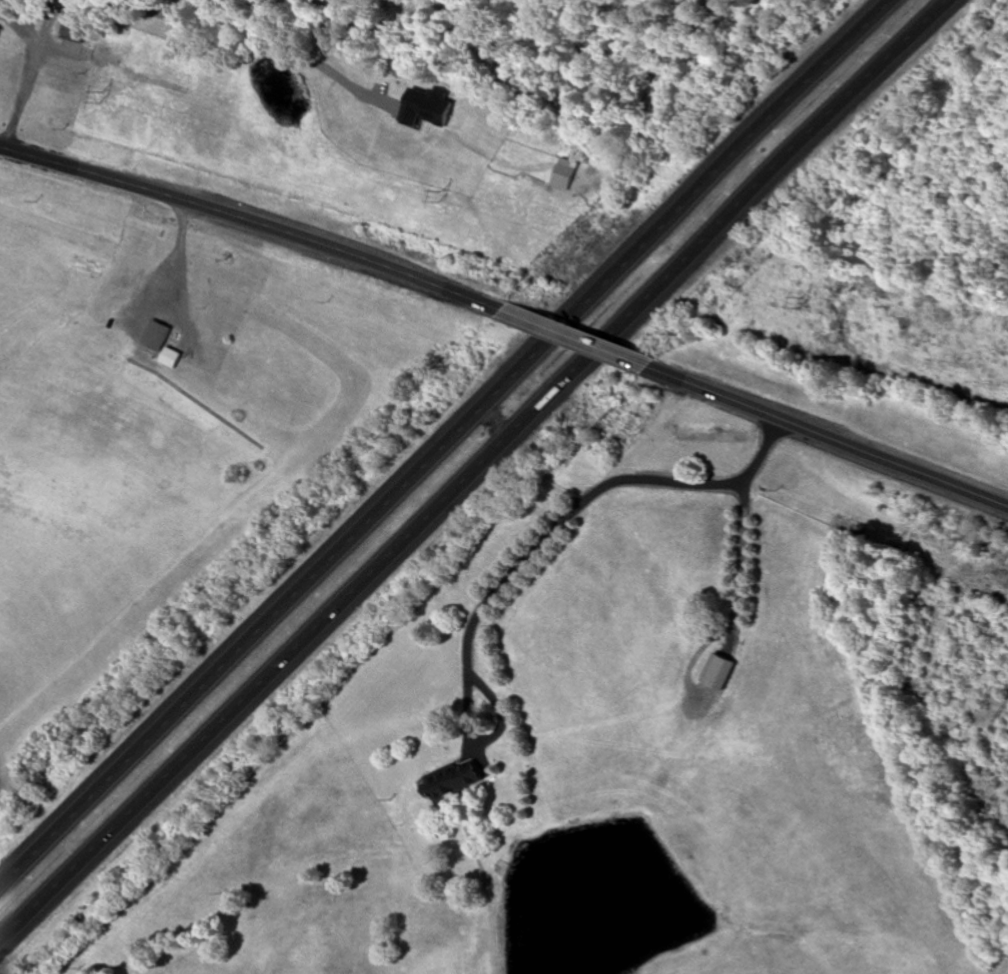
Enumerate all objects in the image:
building: (75, 26)
road: (20, 93)
power tower: (104, 96)
power tower: (443, 195)
road: (254, 222)
road: (178, 259)
building: (154, 337)
road: (576, 339)
road: (827, 436)
road: (444, 441)
road: (472, 470)
road: (533, 552)
road: (737, 609)
building: (717, 672)
building: (453, 782)

